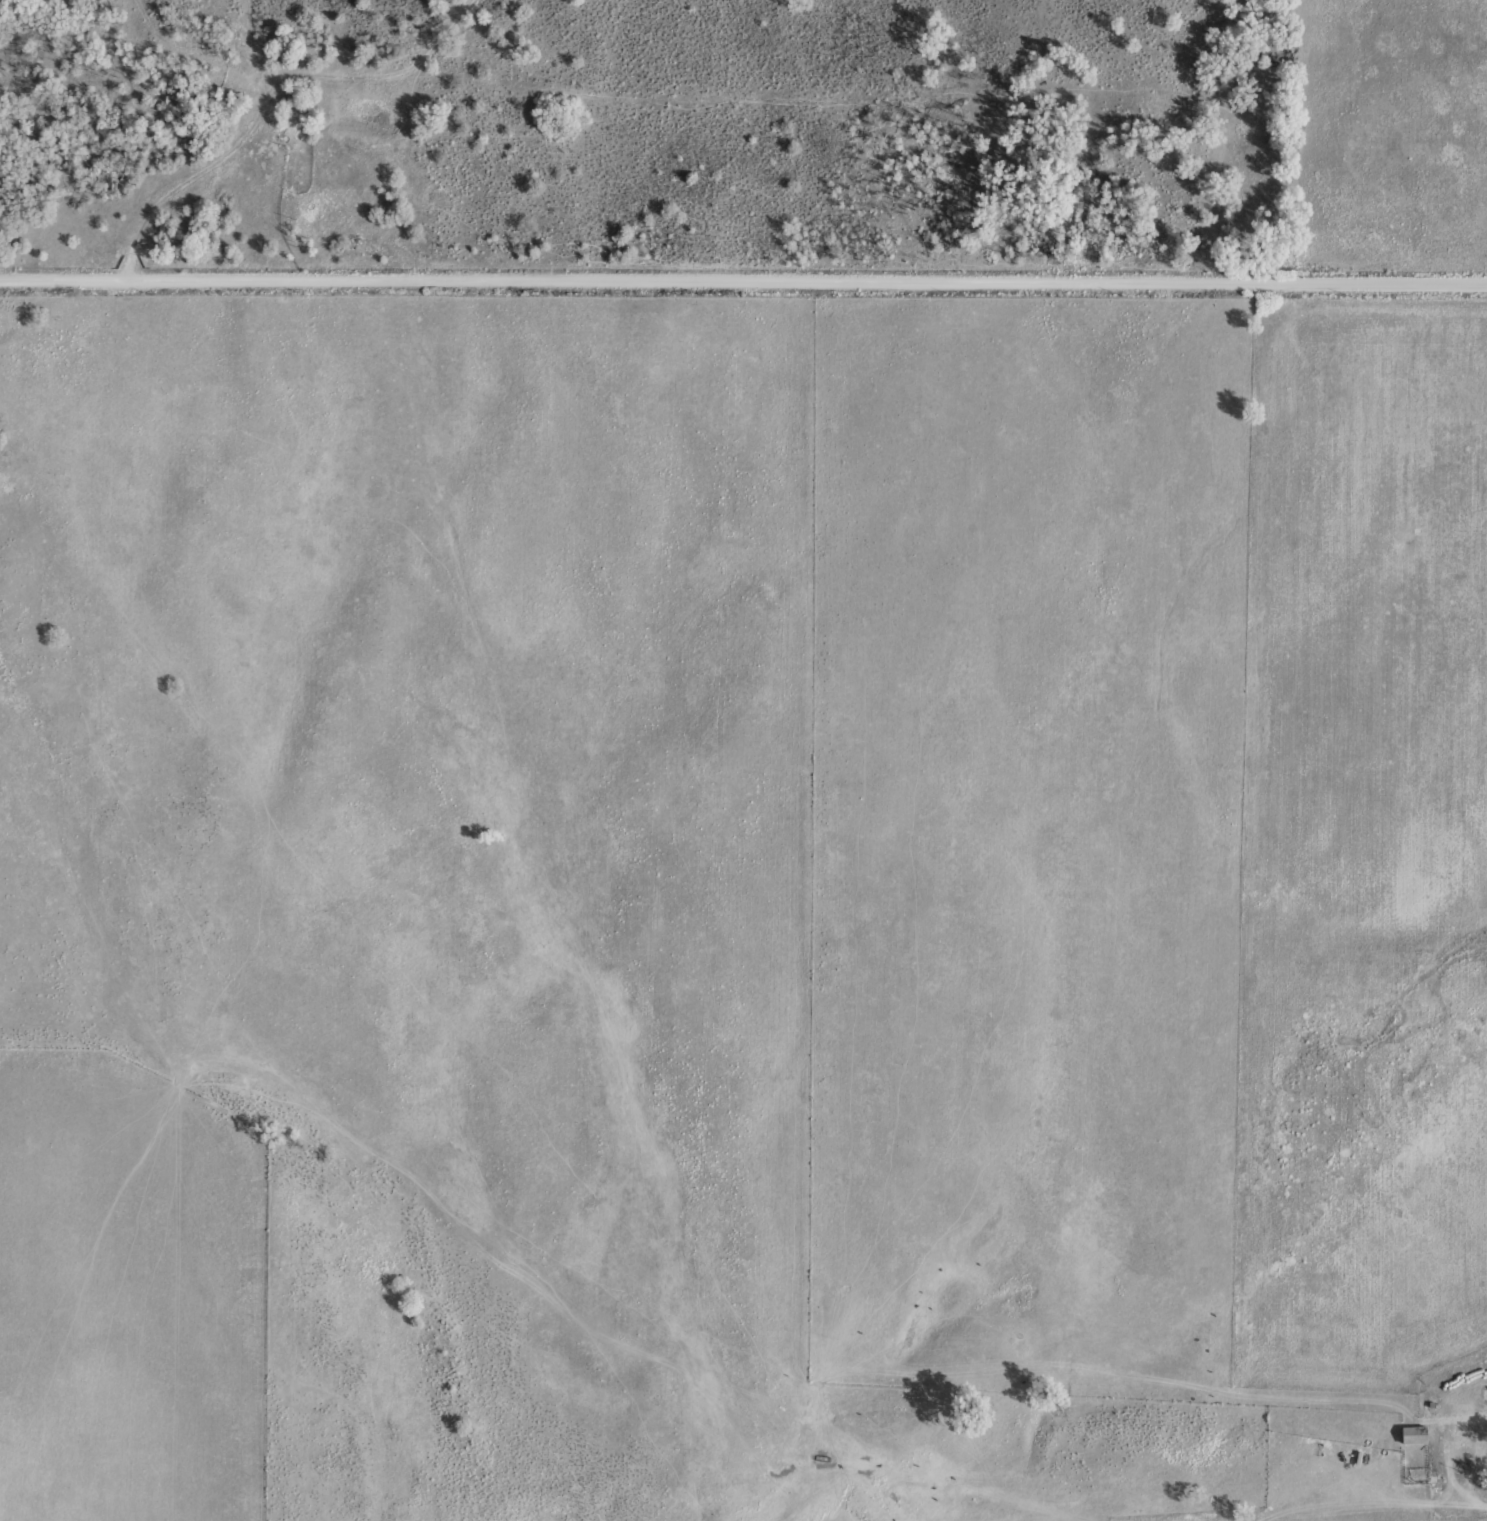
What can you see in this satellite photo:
road: (265, 116)
road: (743, 283)
crop: (743, 760)
building: (1466, 1408)
building: (1417, 1433)

